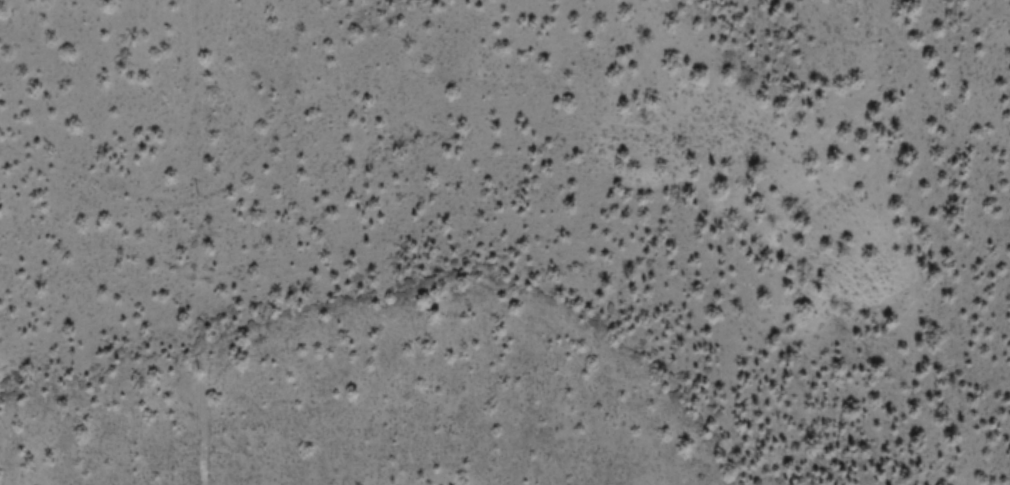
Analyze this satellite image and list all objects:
road: (201, 432)

